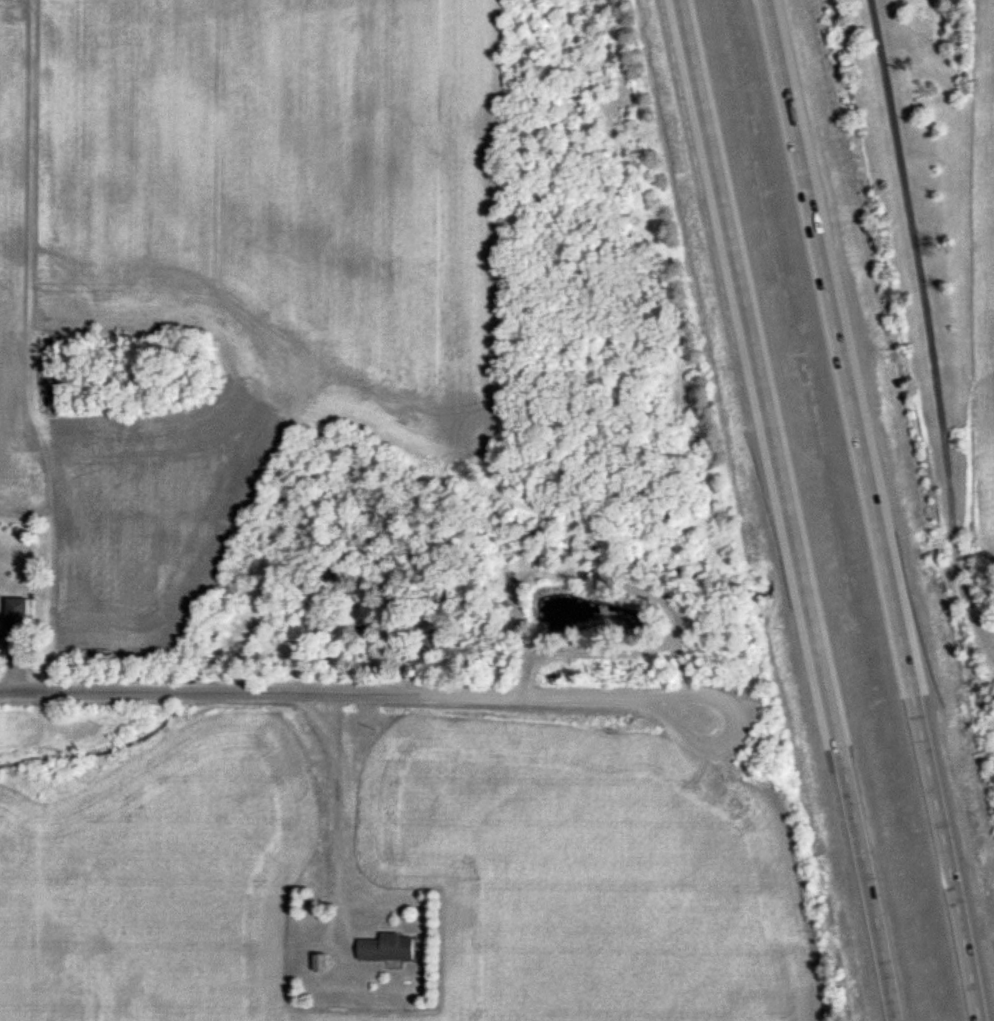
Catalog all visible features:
road: (936, 327)
road: (788, 510)
road: (873, 510)
building: (319, 561)
building: (363, 615)
building: (14, 616)
building: (430, 636)
road: (355, 690)
road: (336, 803)
building: (387, 948)

